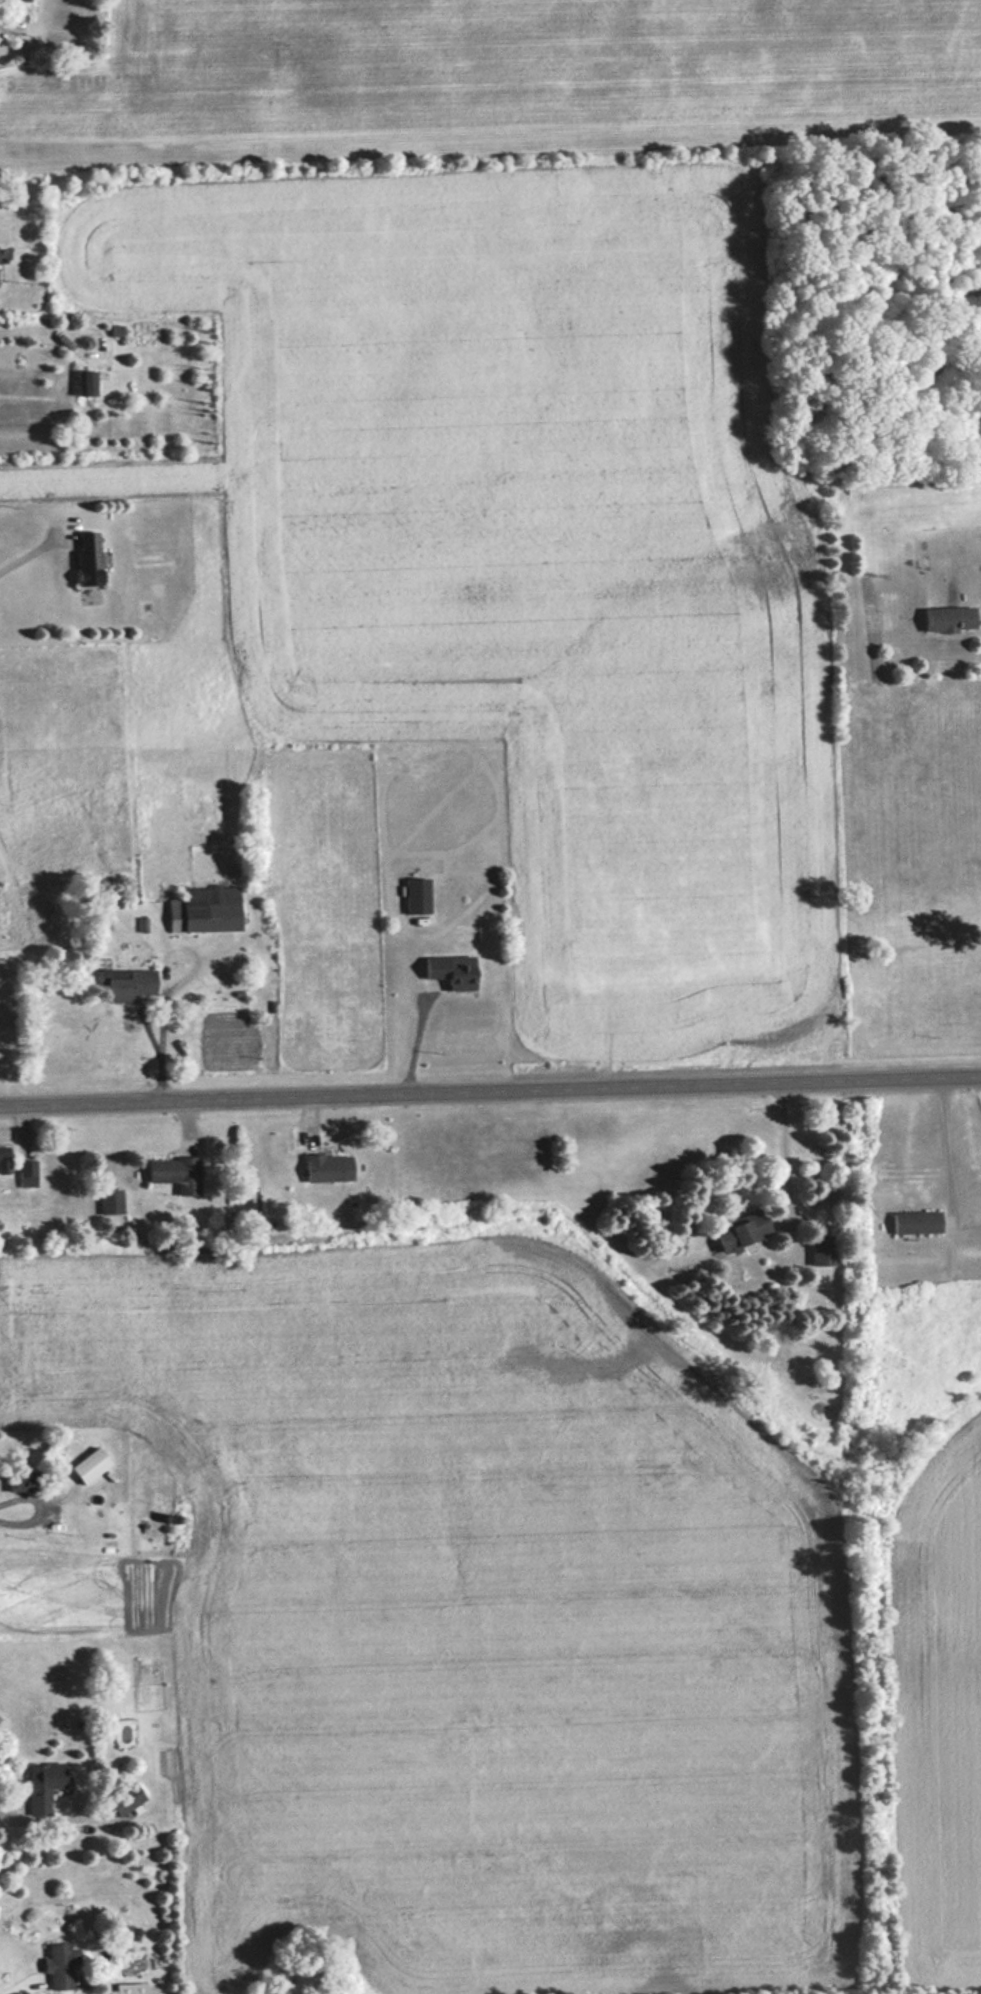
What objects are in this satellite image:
building: (86, 383)
building: (89, 559)
building: (948, 619)
building: (415, 894)
building: (204, 909)
building: (452, 969)
building: (141, 981)
road: (490, 1085)
building: (4, 1159)
building: (328, 1167)
building: (27, 1173)
building: (175, 1173)
building: (110, 1201)
building: (916, 1221)
building: (743, 1231)
building: (822, 1250)
building: (22, 1477)
building: (38, 1788)
building: (126, 1798)
building: (61, 1965)
building: (129, 1992)

